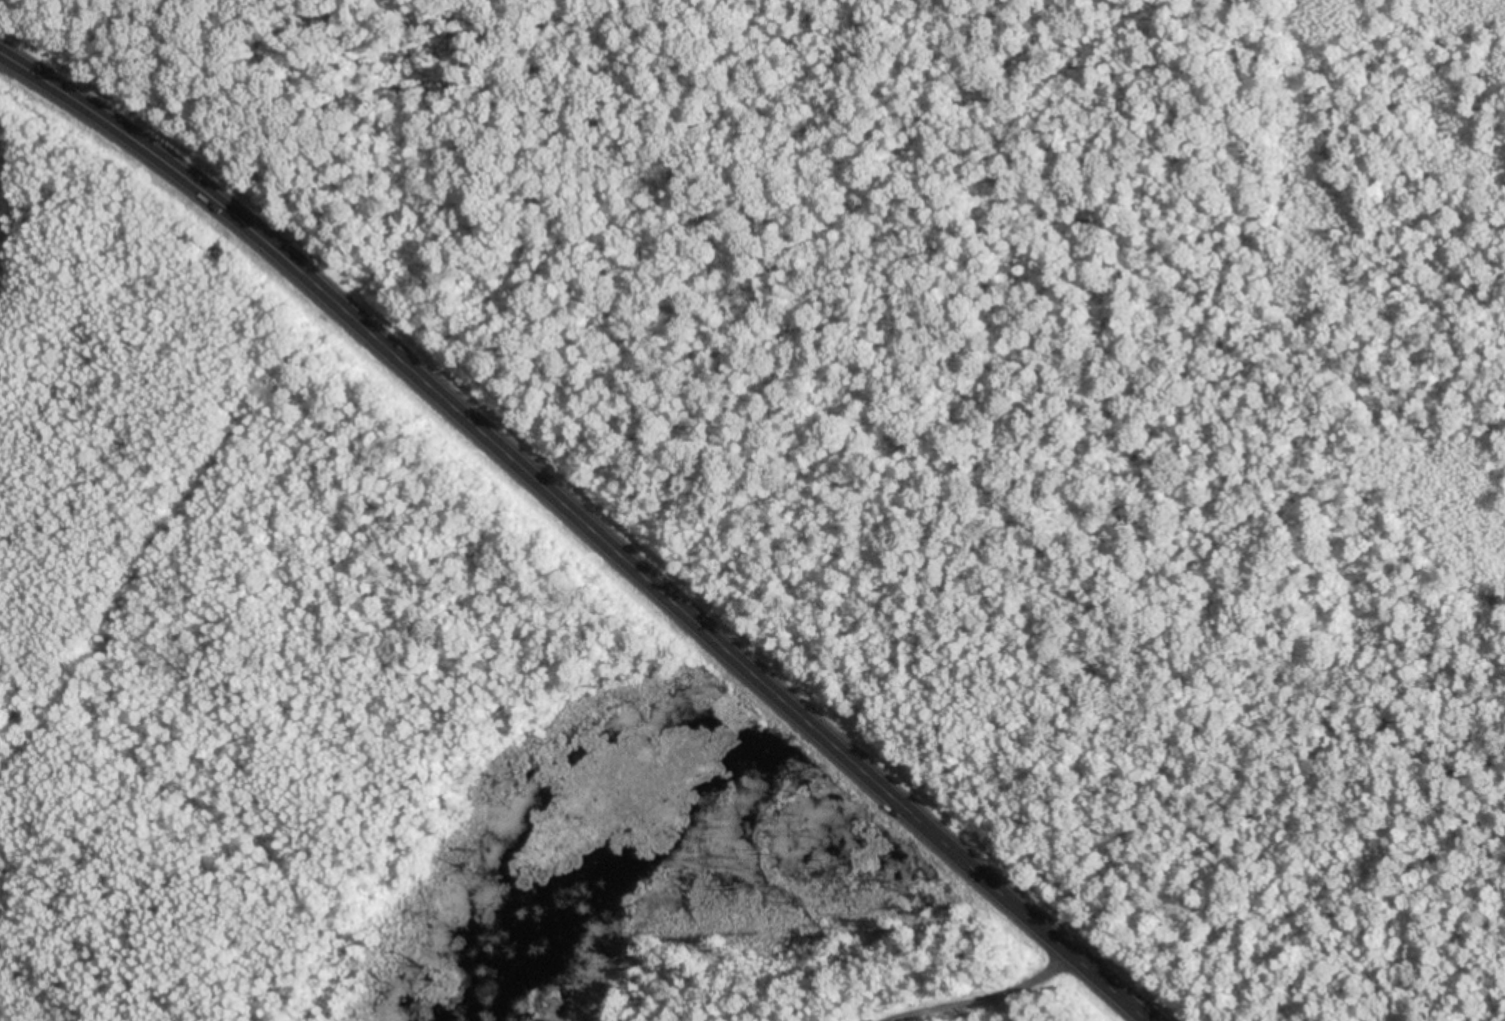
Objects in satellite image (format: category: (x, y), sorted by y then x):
road: (585, 521)

